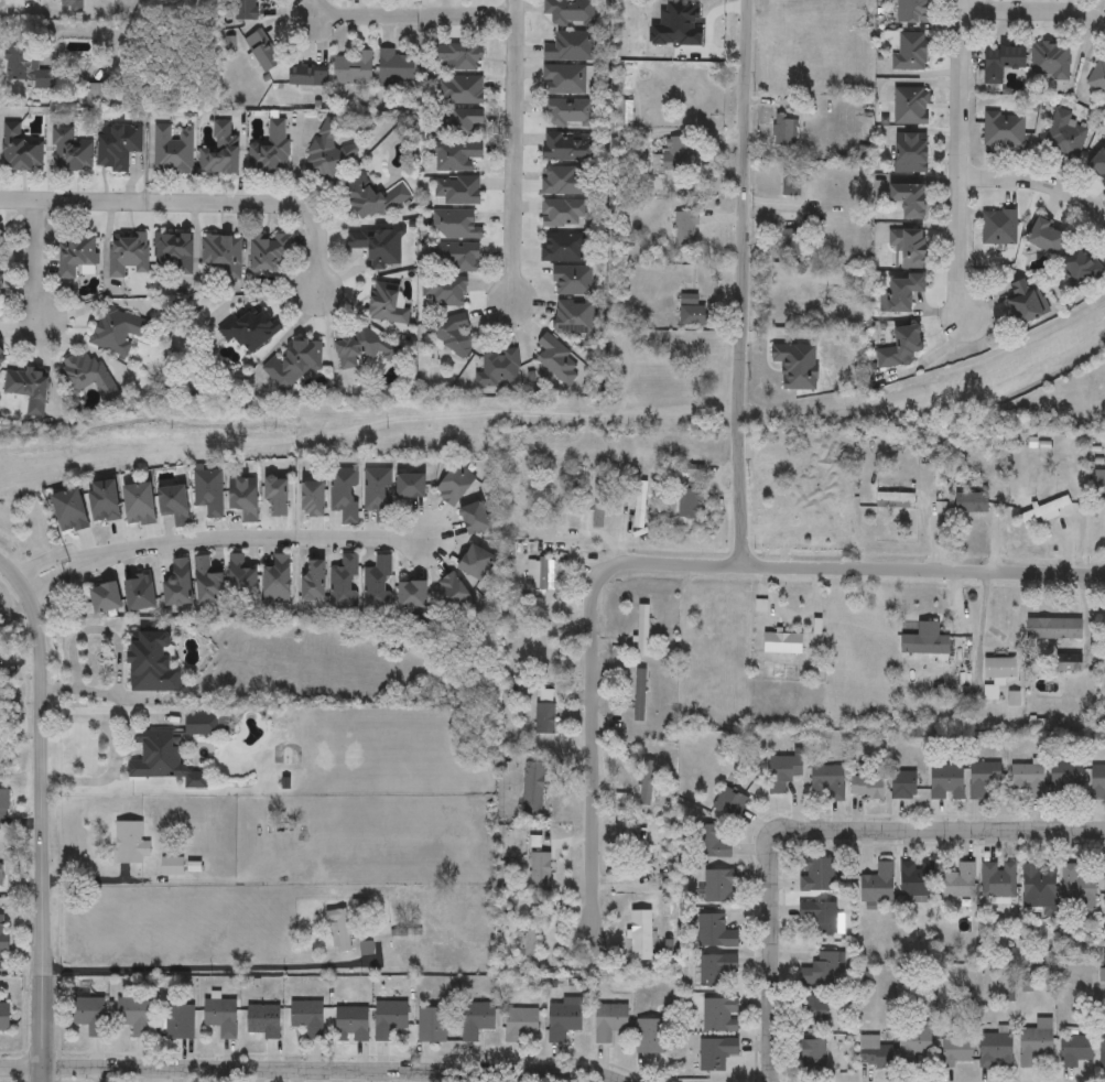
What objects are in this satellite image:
building: (73, 4)
road: (322, 4)
road: (3, 6)
building: (246, 9)
building: (911, 11)
road: (1036, 11)
building: (570, 12)
road: (419, 19)
building: (692, 28)
building: (570, 46)
building: (909, 51)
building: (260, 52)
building: (456, 56)
building: (1000, 61)
building: (1048, 61)
building: (396, 65)
building: (353, 67)
building: (25, 68)
building: (308, 76)
building: (1097, 76)
building: (563, 79)
building: (461, 89)
building: (98, 94)
building: (909, 105)
building: (568, 112)
building: (624, 113)
building: (455, 122)
building: (1001, 130)
building: (786, 131)
building: (1064, 136)
building: (118, 145)
building: (567, 148)
building: (172, 149)
building: (220, 149)
building: (20, 150)
building: (270, 150)
building: (71, 151)
building: (327, 153)
road: (516, 153)
building: (678, 153)
building: (910, 153)
building: (456, 155)
road: (961, 160)
building: (1098, 163)
building: (564, 181)
building: (790, 183)
road: (1038, 184)
building: (457, 190)
building: (372, 198)
building: (909, 198)
road: (195, 202)
building: (563, 213)
building: (455, 224)
building: (997, 226)
building: (686, 232)
building: (792, 242)
building: (377, 246)
building: (907, 246)
building: (0, 247)
building: (563, 247)
building: (174, 250)
building: (75, 252)
building: (223, 252)
building: (270, 252)
building: (128, 253)
building: (455, 257)
road: (34, 259)
building: (1081, 267)
building: (573, 279)
road: (746, 283)
building: (443, 291)
building: (903, 291)
building: (1023, 301)
building: (388, 304)
building: (693, 315)
building: (574, 316)
building: (249, 327)
building: (117, 331)
building: (449, 332)
building: (899, 347)
building: (367, 349)
building: (2, 356)
building: (786, 360)
building: (557, 361)
building: (300, 363)
building: (499, 367)
building: (86, 374)
building: (29, 389)
building: (412, 485)
building: (455, 485)
building: (208, 491)
building: (378, 493)
building: (344, 494)
building: (277, 497)
building: (556, 497)
building: (243, 498)
building: (314, 499)
building: (895, 500)
building: (102, 501)
building: (814, 501)
building: (969, 502)
building: (690, 504)
building: (139, 505)
building: (174, 505)
building: (639, 505)
building: (68, 511)
building: (597, 511)
building: (1043, 511)
building: (475, 518)
road: (261, 541)
road: (50, 559)
building: (476, 562)
building: (542, 573)
road: (854, 573)
road: (55, 577)
building: (241, 577)
building: (277, 580)
building: (314, 580)
building: (207, 581)
building: (344, 583)
building: (378, 583)
building: (177, 584)
building: (454, 593)
building: (139, 594)
building: (412, 594)
building: (104, 598)
building: (1053, 629)
building: (641, 631)
building: (780, 634)
building: (923, 645)
building: (153, 661)
building: (996, 675)
road: (53, 688)
road: (104, 695)
building: (544, 712)
building: (203, 724)
road: (116, 750)
road: (592, 758)
building: (163, 759)
building: (782, 771)
building: (1064, 777)
building: (983, 778)
building: (826, 781)
building: (1026, 781)
building: (945, 782)
building: (1096, 782)
building: (902, 786)
building: (866, 788)
building: (532, 789)
building: (633, 794)
building: (728, 802)
building: (4, 804)
road: (40, 815)
road: (939, 831)
building: (712, 842)
building: (130, 843)
building: (640, 846)
building: (172, 866)
building: (540, 870)
building: (0, 873)
building: (814, 875)
building: (914, 879)
building: (997, 880)
building: (957, 881)
building: (876, 884)
building: (1038, 885)
building: (1104, 885)
building: (721, 886)
building: (1075, 887)
building: (817, 917)
building: (339, 930)
building: (716, 932)
building: (530, 933)
building: (640, 935)
building: (3, 942)
road: (772, 961)
road: (204, 967)
building: (715, 969)
building: (822, 970)
building: (814, 1009)
building: (88, 1014)
building: (133, 1015)
building: (719, 1015)
building: (220, 1017)
building: (307, 1017)
building: (4, 1018)
building: (563, 1018)
building: (389, 1019)
building: (476, 1019)
building: (180, 1021)
building: (262, 1021)
building: (608, 1021)
building: (350, 1023)
building: (520, 1023)
building: (431, 1025)
building: (648, 1036)
building: (912, 1046)
building: (1033, 1046)
building: (1102, 1048)
building: (995, 1050)
building: (955, 1051)
building: (1075, 1051)
building: (810, 1052)
building: (874, 1052)
building: (715, 1053)
road: (315, 1069)

